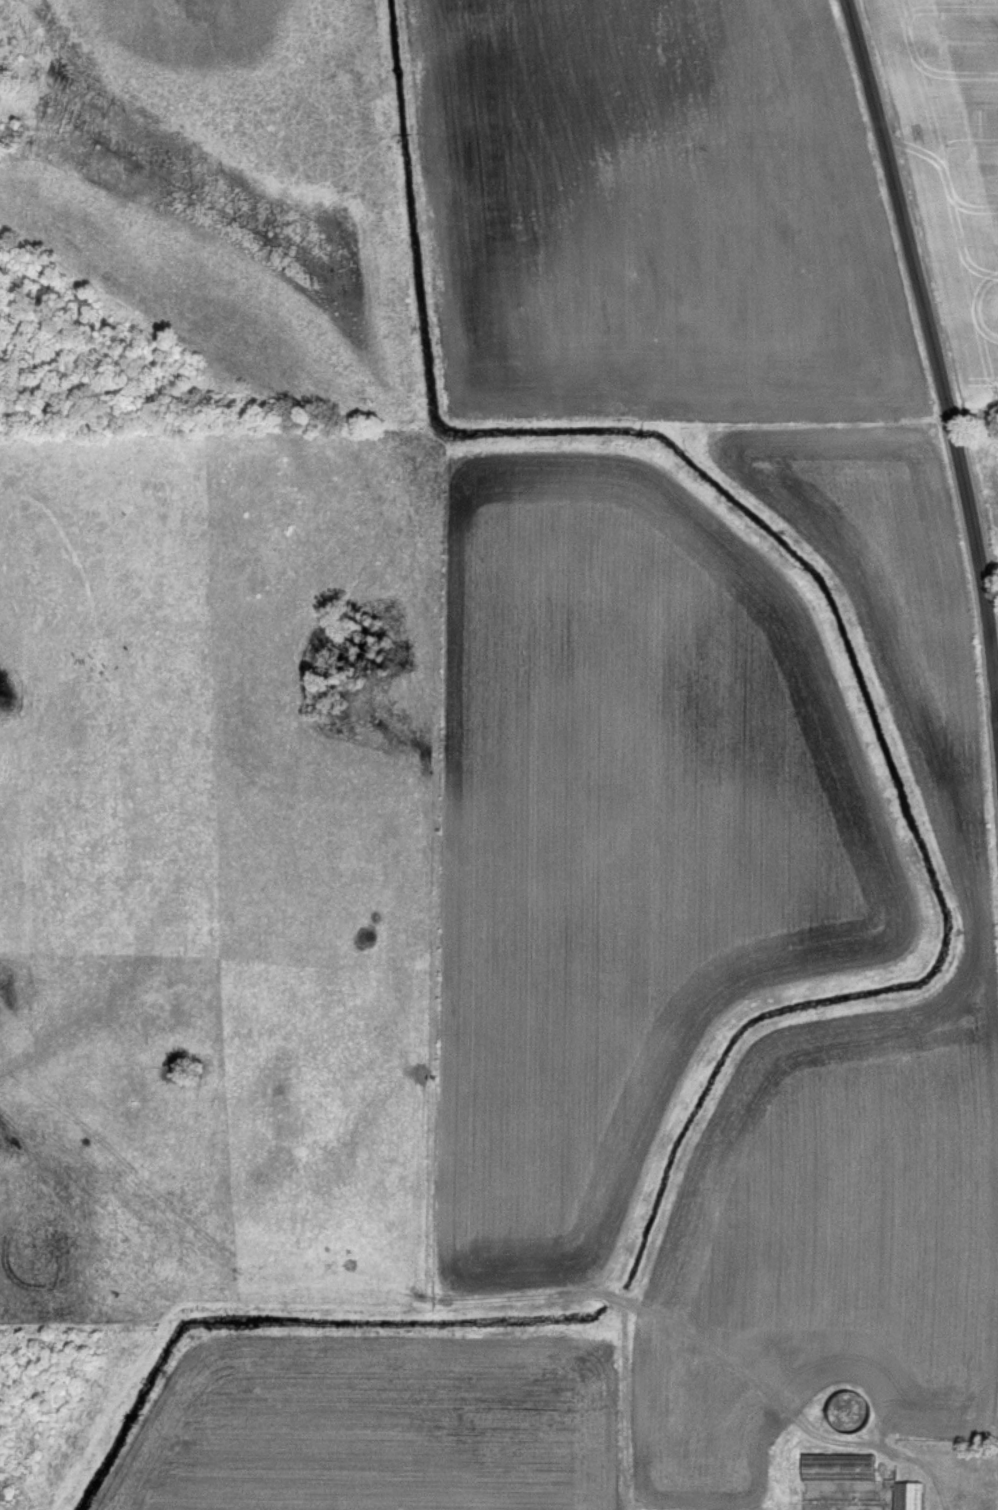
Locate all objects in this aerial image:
road: (939, 384)
road: (997, 762)
building: (835, 1468)
building: (904, 1494)

